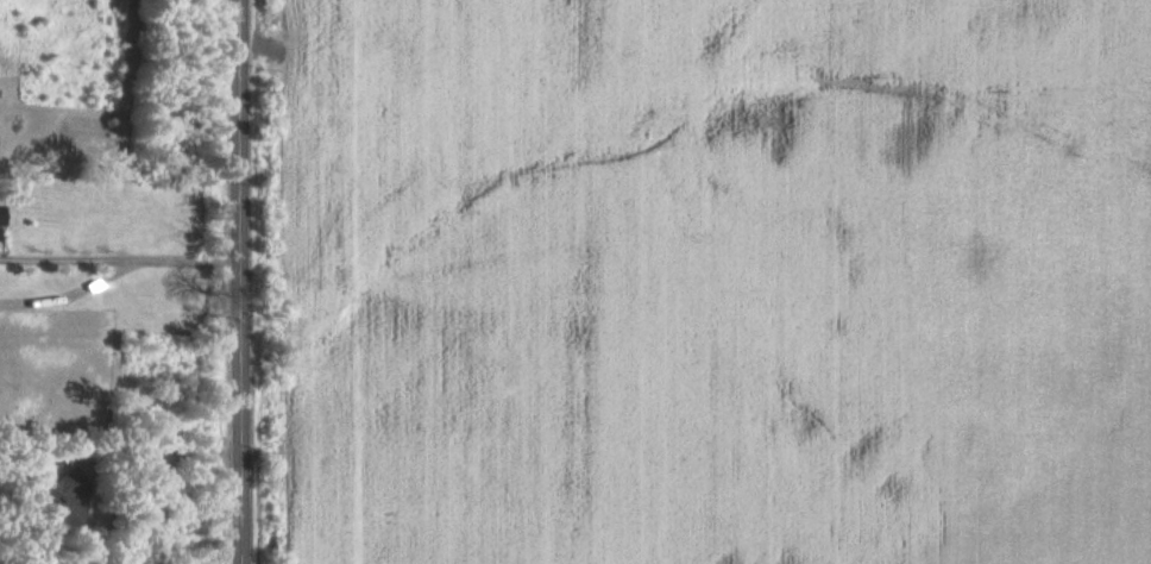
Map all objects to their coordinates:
building: (0, 214)
road: (235, 282)
building: (59, 497)

